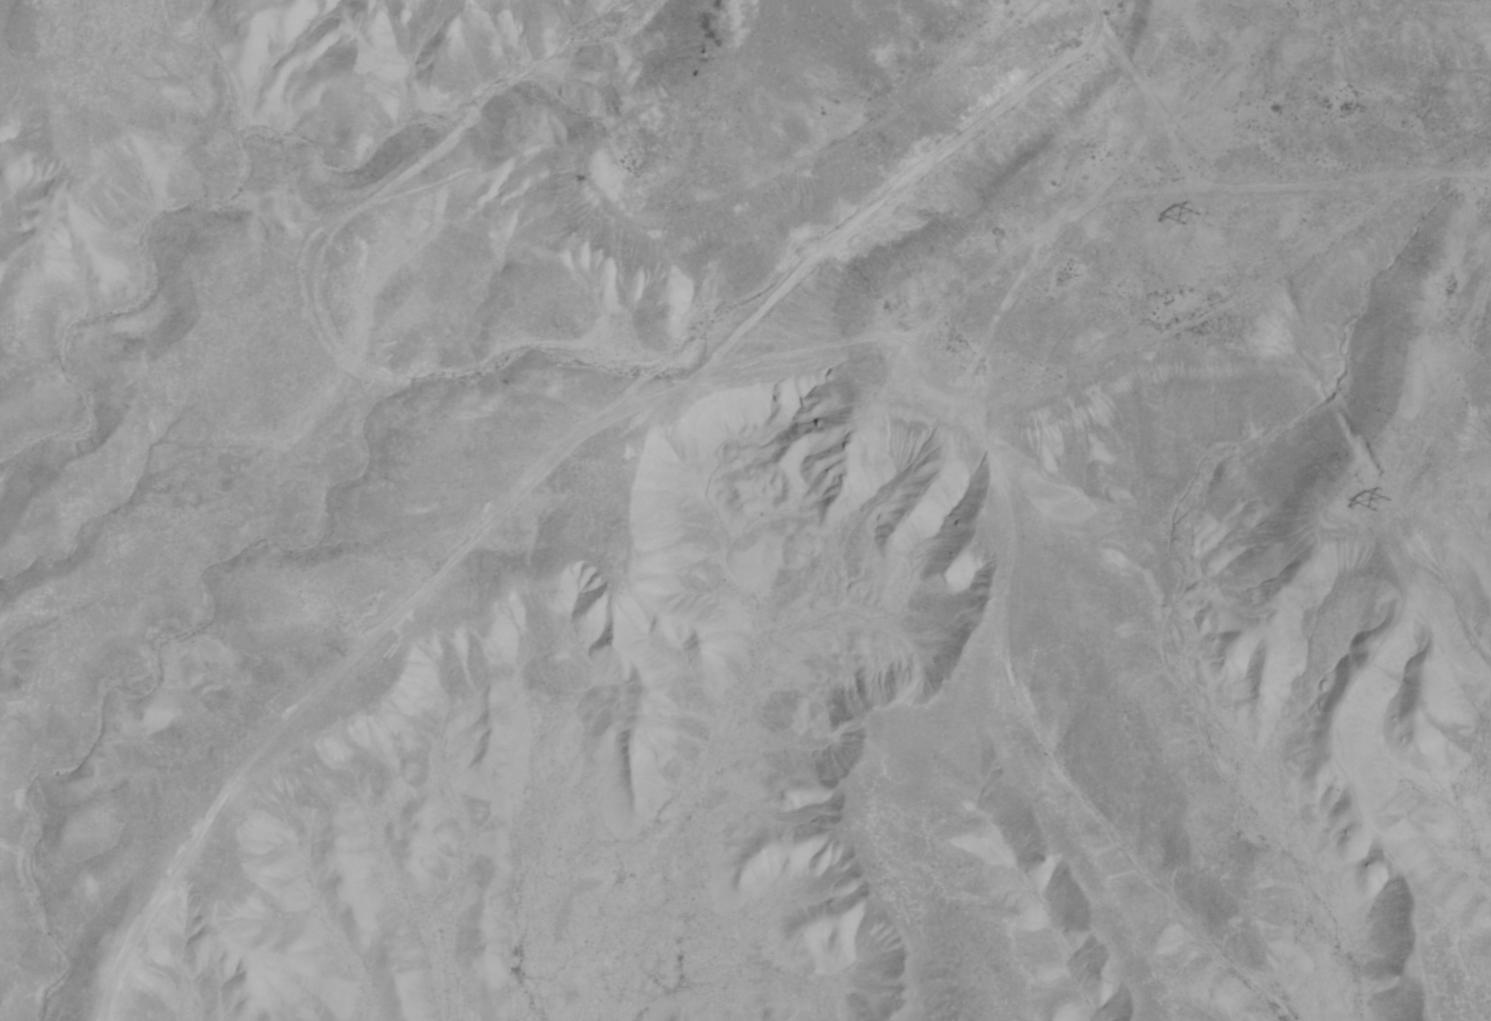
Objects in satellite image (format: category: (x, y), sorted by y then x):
power tower: (1191, 214)
power tower: (1382, 499)

